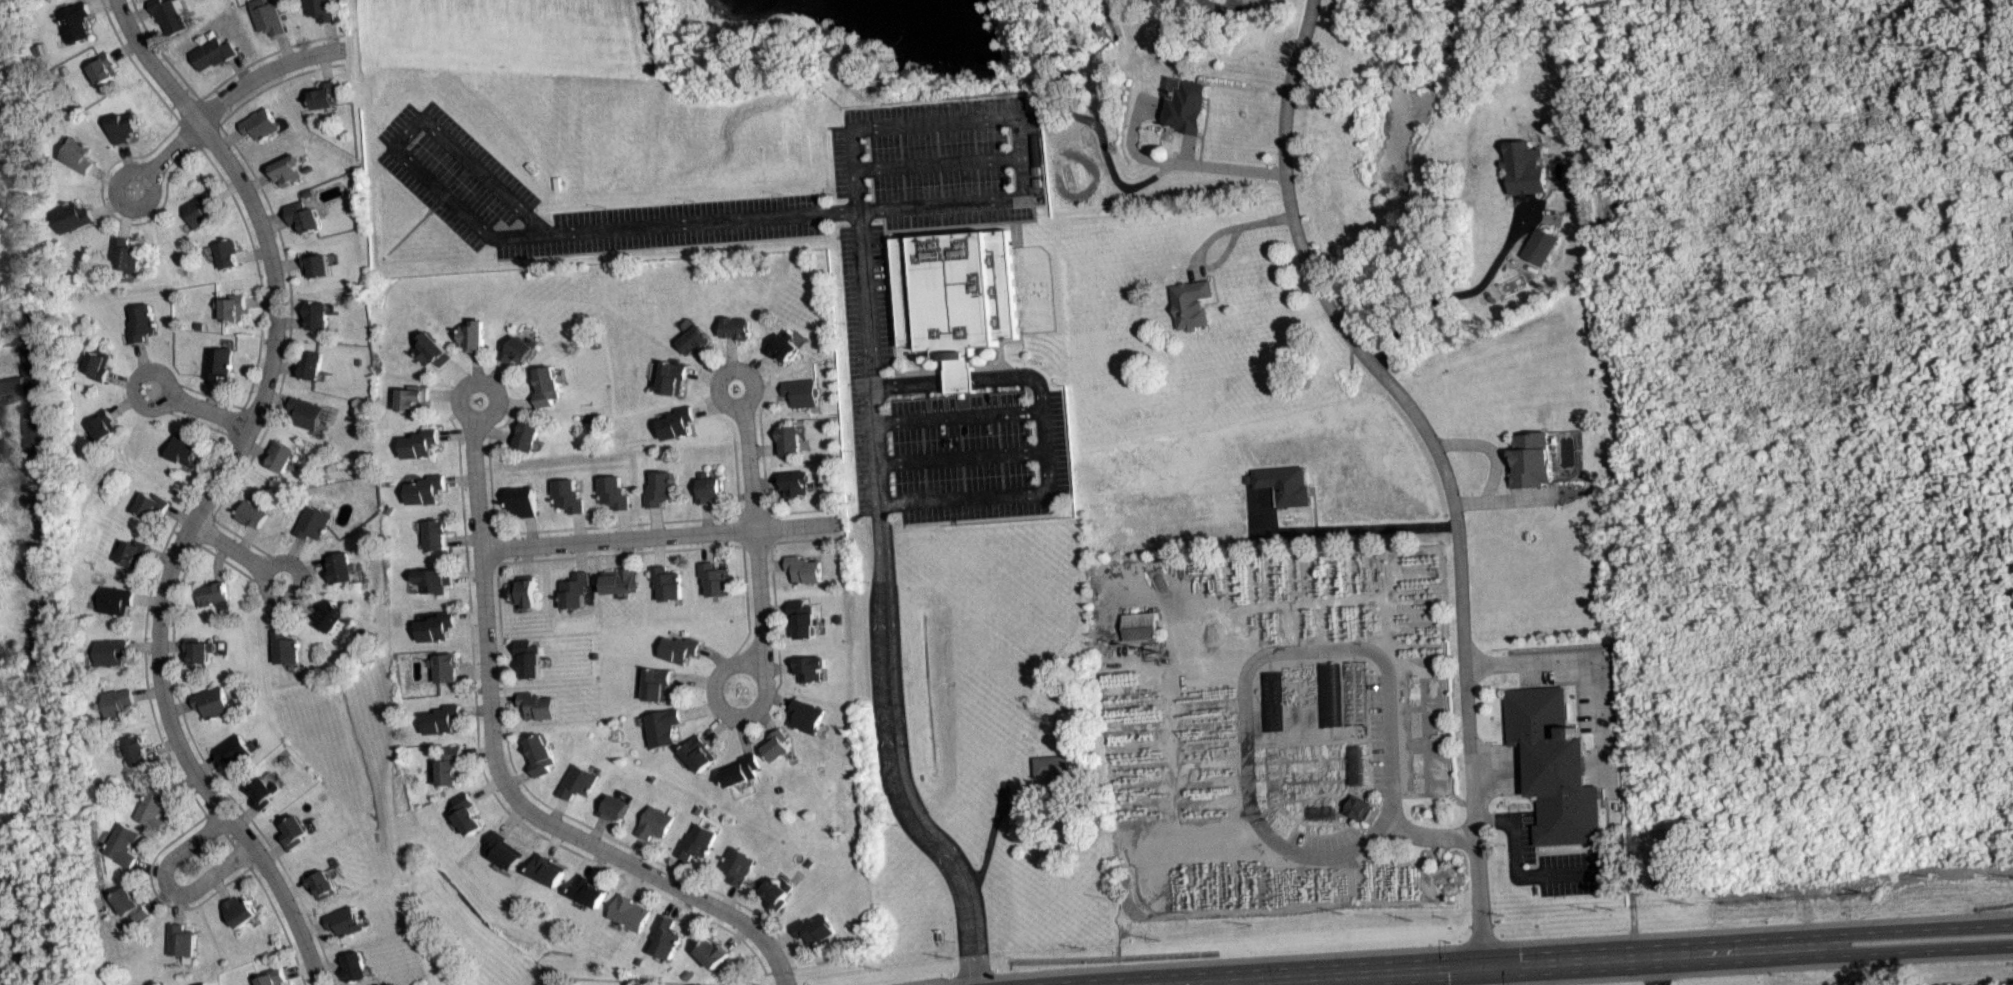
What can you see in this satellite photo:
building: (322, 9)
building: (171, 15)
building: (269, 16)
building: (74, 21)
crop: (506, 37)
building: (214, 54)
road: (150, 64)
building: (103, 68)
road: (233, 93)
building: (326, 94)
building: (1186, 104)
road: (1013, 116)
building: (262, 123)
building: (124, 126)
building: (77, 154)
road: (938, 161)
building: (1525, 167)
building: (288, 170)
road: (121, 202)
building: (203, 208)
building: (72, 216)
building: (305, 216)
road: (508, 234)
building: (1539, 245)
building: (226, 253)
road: (1223, 253)
building: (125, 255)
building: (318, 264)
building: (956, 289)
road: (1455, 294)
building: (1191, 303)
building: (234, 307)
building: (320, 315)
building: (140, 322)
road: (276, 324)
building: (736, 327)
building: (19, 330)
building: (473, 335)
building: (693, 340)
building: (783, 345)
building: (432, 348)
building: (515, 349)
building: (220, 362)
building: (94, 364)
building: (315, 364)
road: (728, 368)
building: (671, 377)
building: (22, 379)
road: (959, 379)
road: (134, 380)
road: (477, 383)
road: (908, 383)
building: (544, 386)
building: (802, 392)
building: (414, 397)
road: (210, 411)
building: (310, 412)
road: (956, 417)
building: (674, 422)
building: (102, 424)
building: (525, 435)
building: (791, 440)
building: (421, 443)
building: (185, 448)
building: (285, 456)
road: (959, 456)
road: (1437, 459)
building: (1529, 459)
building: (796, 482)
road: (1041, 483)
building: (1283, 484)
building: (707, 487)
building: (658, 488)
building: (426, 489)
building: (612, 492)
building: (566, 495)
building: (520, 501)
building: (149, 505)
building: (256, 512)
building: (316, 522)
road: (796, 526)
road: (1389, 527)
road: (476, 528)
road: (756, 532)
building: (436, 534)
road: (617, 540)
road: (230, 548)
building: (129, 552)
building: (344, 567)
building: (804, 569)
building: (714, 578)
building: (435, 580)
building: (619, 580)
building: (666, 582)
road: (299, 590)
building: (574, 591)
building: (524, 593)
building: (216, 595)
building: (113, 600)
road: (886, 607)
building: (334, 615)
building: (803, 618)
building: (1140, 626)
building: (437, 627)
building: (289, 647)
building: (676, 648)
building: (110, 651)
building: (199, 651)
building: (528, 657)
road: (1587, 660)
building: (446, 667)
building: (811, 668)
building: (654, 684)
road: (159, 698)
building: (116, 701)
building: (213, 702)
building: (539, 705)
road: (719, 709)
building: (807, 716)
building: (445, 719)
building: (661, 726)
building: (779, 745)
building: (135, 750)
building: (233, 750)
building: (700, 753)
building: (541, 754)
building: (1358, 764)
building: (1058, 765)
building: (452, 766)
building: (1557, 768)
building: (743, 770)
building: (577, 781)
building: (265, 791)
road: (1392, 791)
building: (614, 807)
building: (1357, 807)
building: (151, 808)
building: (469, 813)
building: (656, 822)
building: (298, 831)
road: (197, 838)
building: (699, 841)
building: (120, 843)
road: (589, 844)
building: (507, 850)
building: (739, 865)
road: (1516, 868)
road: (220, 869)
building: (550, 869)
building: (1663, 877)
road: (164, 882)
building: (325, 885)
building: (591, 890)
building: (776, 891)
building: (127, 904)
building: (240, 910)
building: (631, 912)
road: (292, 913)
building: (346, 920)
building: (815, 929)
building: (666, 937)
building: (177, 940)
building: (714, 952)
road: (1584, 959)
building: (355, 965)
traffic signals: (1483, 965)
road: (1656, 970)
building: (271, 977)
road: (1230, 983)

